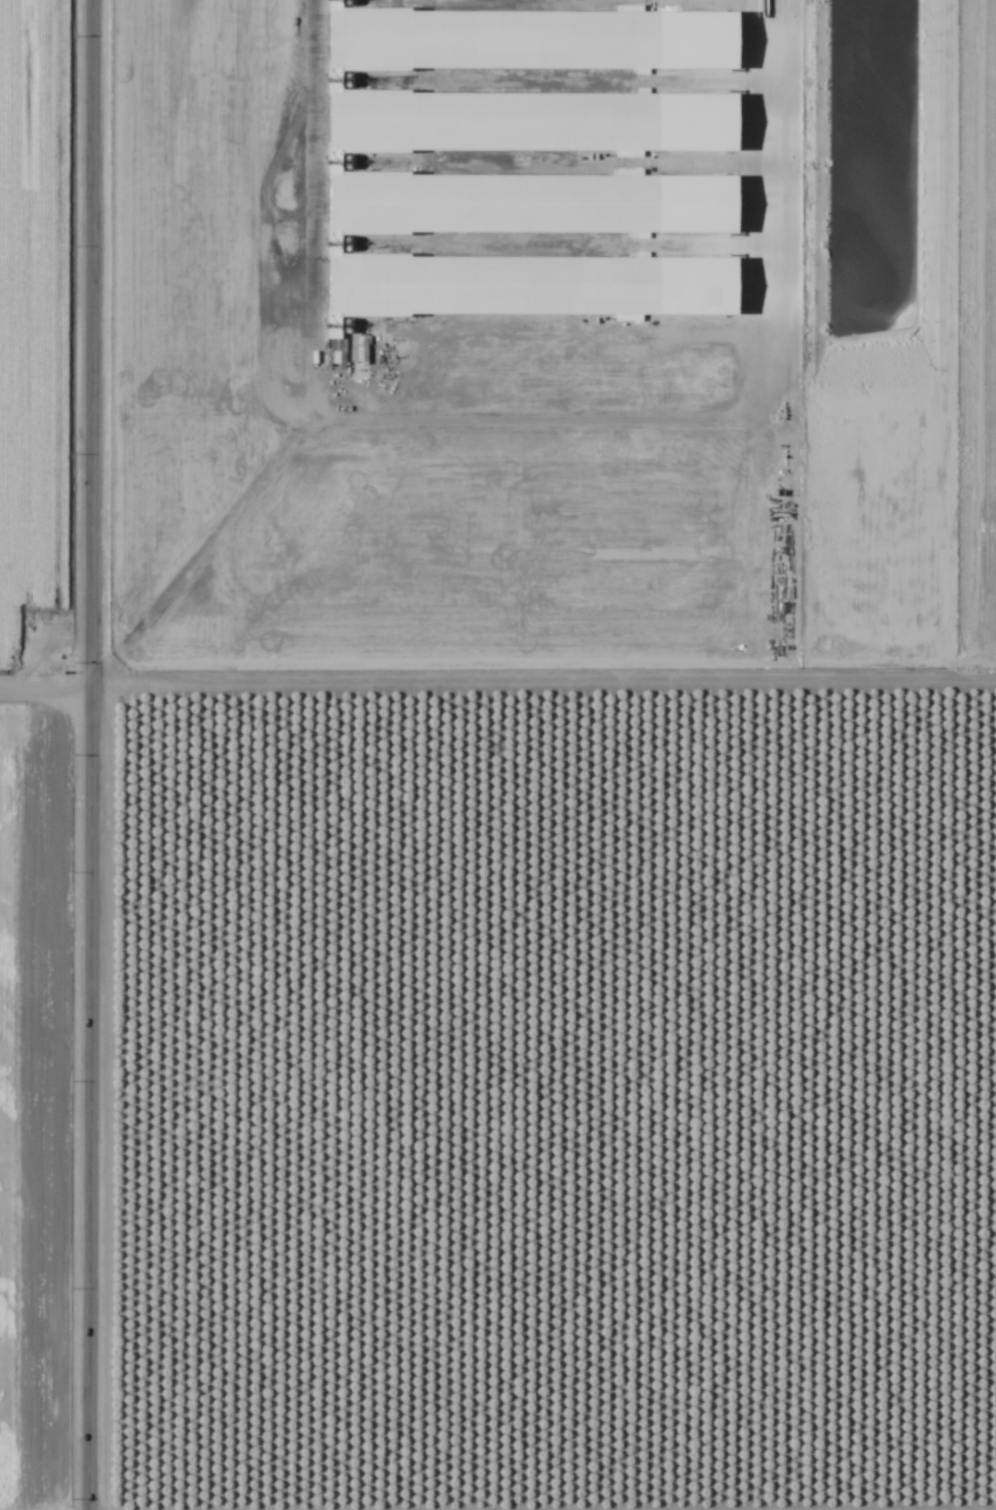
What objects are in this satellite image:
road: (498, 679)
road: (87, 755)
road: (497, 1508)

